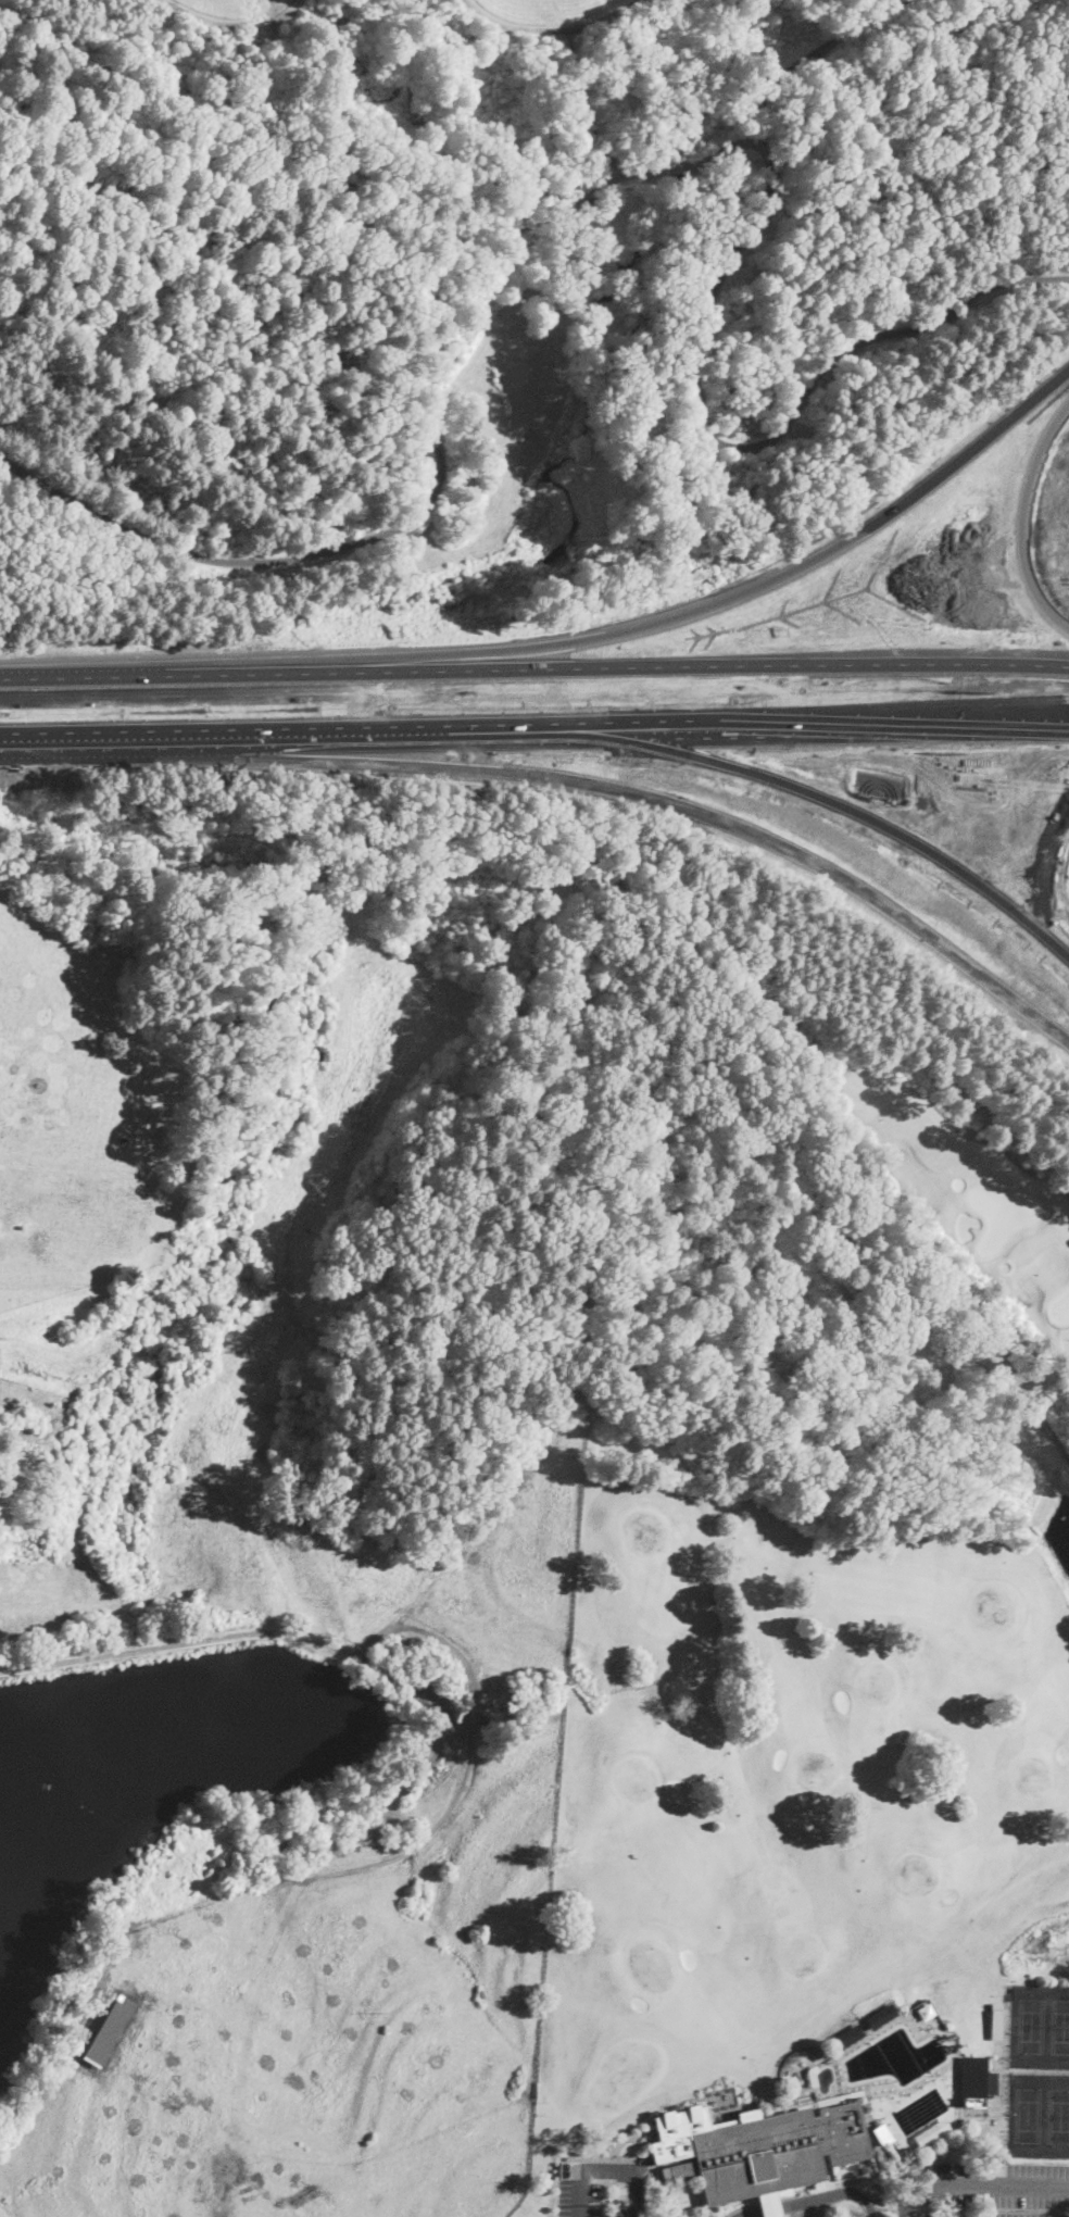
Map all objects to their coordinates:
road: (232, 23)
road: (552, 28)
road: (796, 65)
road: (671, 168)
park: (483, 265)
road: (722, 443)
road: (424, 508)
road: (1024, 518)
road: (713, 605)
road: (534, 669)
road: (1027, 726)
road: (492, 737)
road: (647, 796)
building: (829, 1239)
road: (973, 1356)
building: (458, 1478)
building: (433, 1479)
building: (717, 1524)
crop: (238, 1574)
road: (349, 1645)
building: (337, 1792)
building: (926, 2011)
building: (881, 2015)
building: (1003, 2022)
building: (108, 2028)
building: (847, 2036)
building: (812, 2075)
building: (906, 2101)
building: (770, 2112)
building: (881, 2133)
building: (772, 2151)
road: (609, 2168)
road: (972, 2183)
road: (829, 2195)
road: (764, 2208)
road: (747, 2214)

